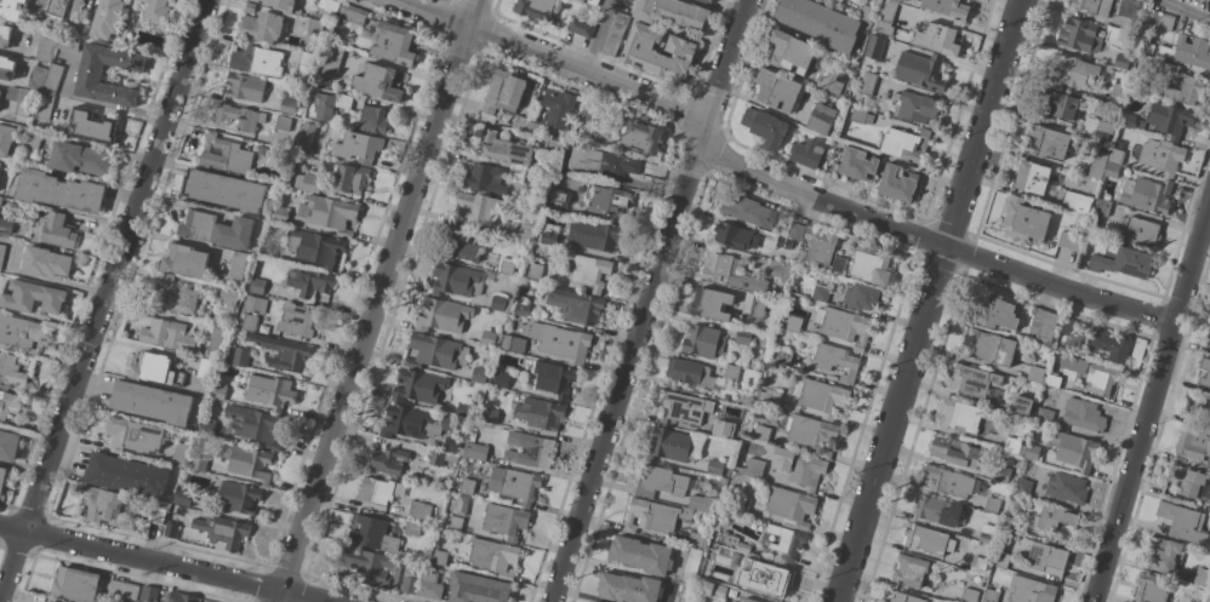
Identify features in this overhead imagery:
building: (839, 0)
building: (1209, 0)
building: (706, 1)
building: (592, 2)
building: (279, 4)
building: (327, 6)
building: (1092, 6)
building: (57, 7)
building: (75, 7)
building: (250, 7)
building: (947, 7)
building: (1128, 7)
building: (536, 8)
building: (11, 10)
road: (1186, 10)
building: (156, 11)
building: (672, 12)
building: (864, 12)
building: (352, 13)
building: (885, 17)
building: (105, 18)
building: (1163, 21)
building: (81, 22)
building: (820, 23)
building: (314, 25)
building: (1135, 25)
building: (262, 27)
building: (581, 28)
building: (615, 34)
building: (5, 35)
road: (598, 35)
building: (1079, 35)
building: (937, 39)
building: (67, 44)
building: (394, 44)
building: (45, 46)
building: (874, 47)
building: (1148, 47)
building: (789, 51)
building: (658, 52)
building: (1187, 52)
building: (306, 58)
building: (256, 59)
building: (333, 59)
road: (557, 59)
building: (1121, 61)
building: (816, 63)
building: (1143, 63)
building: (6, 68)
building: (920, 70)
building: (1071, 73)
building: (89, 76)
building: (36, 79)
building: (51, 80)
building: (835, 80)
building: (378, 82)
building: (245, 87)
building: (863, 88)
building: (777, 90)
building: (1183, 91)
building: (0, 93)
building: (502, 94)
building: (1115, 96)
building: (18, 99)
building: (331, 104)
building: (287, 105)
building: (1060, 105)
building: (44, 107)
building: (914, 107)
building: (558, 108)
building: (588, 111)
building: (861, 116)
building: (239, 117)
building: (821, 119)
building: (1170, 119)
building: (373, 120)
building: (1131, 121)
building: (282, 124)
building: (520, 124)
building: (91, 126)
building: (533, 127)
building: (765, 127)
building: (1102, 131)
building: (641, 136)
building: (6, 139)
building: (30, 142)
building: (1048, 142)
building: (904, 144)
building: (361, 147)
building: (552, 147)
building: (504, 149)
building: (806, 154)
building: (226, 155)
building: (278, 155)
building: (1115, 156)
building: (1162, 156)
building: (79, 159)
building: (603, 162)
building: (0, 164)
building: (855, 165)
building: (1097, 165)
building: (1111, 170)
building: (1032, 177)
building: (352, 178)
building: (483, 178)
building: (308, 182)
building: (898, 183)
building: (223, 190)
building: (59, 191)
building: (1148, 196)
building: (0, 200)
building: (557, 200)
building: (606, 200)
building: (1083, 206)
building: (479, 207)
building: (1102, 208)
building: (748, 211)
building: (330, 213)
building: (280, 214)
building: (1024, 219)
building: (6, 225)
building: (524, 229)
building: (216, 230)
building: (795, 230)
building: (57, 231)
building: (1142, 231)
building: (594, 235)
building: (735, 236)
building: (548, 239)
building: (1069, 241)
road: (931, 242)
building: (783, 243)
building: (458, 246)
building: (315, 247)
building: (817, 247)
building: (267, 250)
building: (1, 253)
building: (186, 260)
building: (46, 263)
building: (1123, 263)
building: (838, 264)
building: (236, 265)
building: (507, 266)
building: (872, 266)
building: (780, 270)
building: (535, 271)
building: (589, 271)
building: (730, 273)
building: (457, 280)
building: (310, 282)
building: (256, 285)
building: (820, 293)
building: (33, 297)
building: (172, 297)
building: (862, 297)
road: (102, 299)
road: (650, 299)
building: (228, 300)
road: (379, 300)
road: (928, 300)
building: (501, 304)
building: (710, 304)
building: (255, 305)
building: (575, 305)
building: (757, 306)
building: (519, 309)
building: (994, 314)
building: (443, 315)
building: (297, 320)
building: (249, 322)
building: (789, 322)
building: (1043, 325)
building: (843, 326)
building: (1068, 326)
building: (21, 333)
building: (169, 336)
building: (744, 337)
building: (490, 338)
building: (216, 339)
building: (561, 342)
building: (702, 342)
building: (513, 344)
building: (1107, 344)
building: (1209, 344)
building: (988, 346)
building: (282, 352)
building: (435, 352)
building: (1209, 354)
building: (240, 357)
building: (782, 359)
building: (835, 361)
building: (155, 369)
building: (205, 369)
building: (11, 371)
building: (731, 372)
building: (690, 373)
building: (1034, 374)
building: (1208, 374)
building: (478, 375)
building: (554, 379)
building: (1101, 379)
building: (501, 380)
building: (972, 380)
building: (1052, 380)
building: (418, 386)
building: (266, 389)
building: (218, 392)
building: (769, 396)
building: (821, 396)
road: (1151, 400)
building: (152, 402)
building: (10, 403)
building: (1021, 405)
building: (1200, 407)
building: (684, 408)
building: (463, 409)
building: (540, 413)
building: (1083, 414)
building: (490, 415)
building: (964, 415)
building: (1044, 417)
building: (415, 423)
building: (253, 425)
building: (206, 426)
building: (723, 430)
building: (761, 432)
building: (811, 432)
building: (133, 435)
building: (669, 445)
building: (1011, 445)
building: (1193, 445)
building: (8, 446)
building: (451, 446)
building: (529, 449)
building: (1074, 449)
building: (475, 452)
building: (955, 452)
building: (1032, 453)
building: (178, 454)
building: (440, 458)
building: (388, 461)
building: (250, 463)
building: (199, 464)
building: (1208, 466)
building: (714, 468)
building: (753, 468)
building: (799, 468)
building: (126, 475)
building: (1004, 476)
building: (2, 477)
building: (723, 481)
building: (1188, 481)
building: (660, 482)
building: (951, 482)
building: (515, 485)
building: (462, 486)
building: (1023, 487)
building: (1066, 487)
building: (379, 491)
building: (238, 497)
building: (184, 498)
building: (701, 503)
building: (992, 504)
building: (103, 505)
building: (461, 505)
building: (743, 505)
building: (791, 505)
building: (937, 510)
building: (419, 511)
building: (158, 514)
building: (655, 516)
building: (1055, 518)
building: (504, 521)
building: (1183, 522)
building: (455, 523)
building: (1011, 523)
building: (412, 528)
building: (171, 531)
building: (222, 532)
building: (987, 533)
building: (373, 534)
building: (697, 540)
building: (786, 540)
building: (928, 540)
building: (734, 543)
building: (1067, 544)
building: (640, 555)
building: (1164, 555)
building: (438, 557)
building: (493, 557)
building: (1043, 557)
building: (734, 560)
building: (1001, 560)
road: (162, 563)
building: (981, 564)
building: (691, 566)
building: (372, 568)
building: (912, 571)
building: (410, 578)
building: (1202, 578)
building: (770, 580)
building: (75, 584)
building: (429, 586)
building: (1152, 587)
building: (476, 589)
building: (629, 589)
building: (124, 590)
building: (712, 590)
building: (1031, 590)
building: (683, 594)
building: (969, 595)
building: (165, 596)
building: (991, 596)
building: (906, 598)
building: (747, 600)
building: (41, 601)

